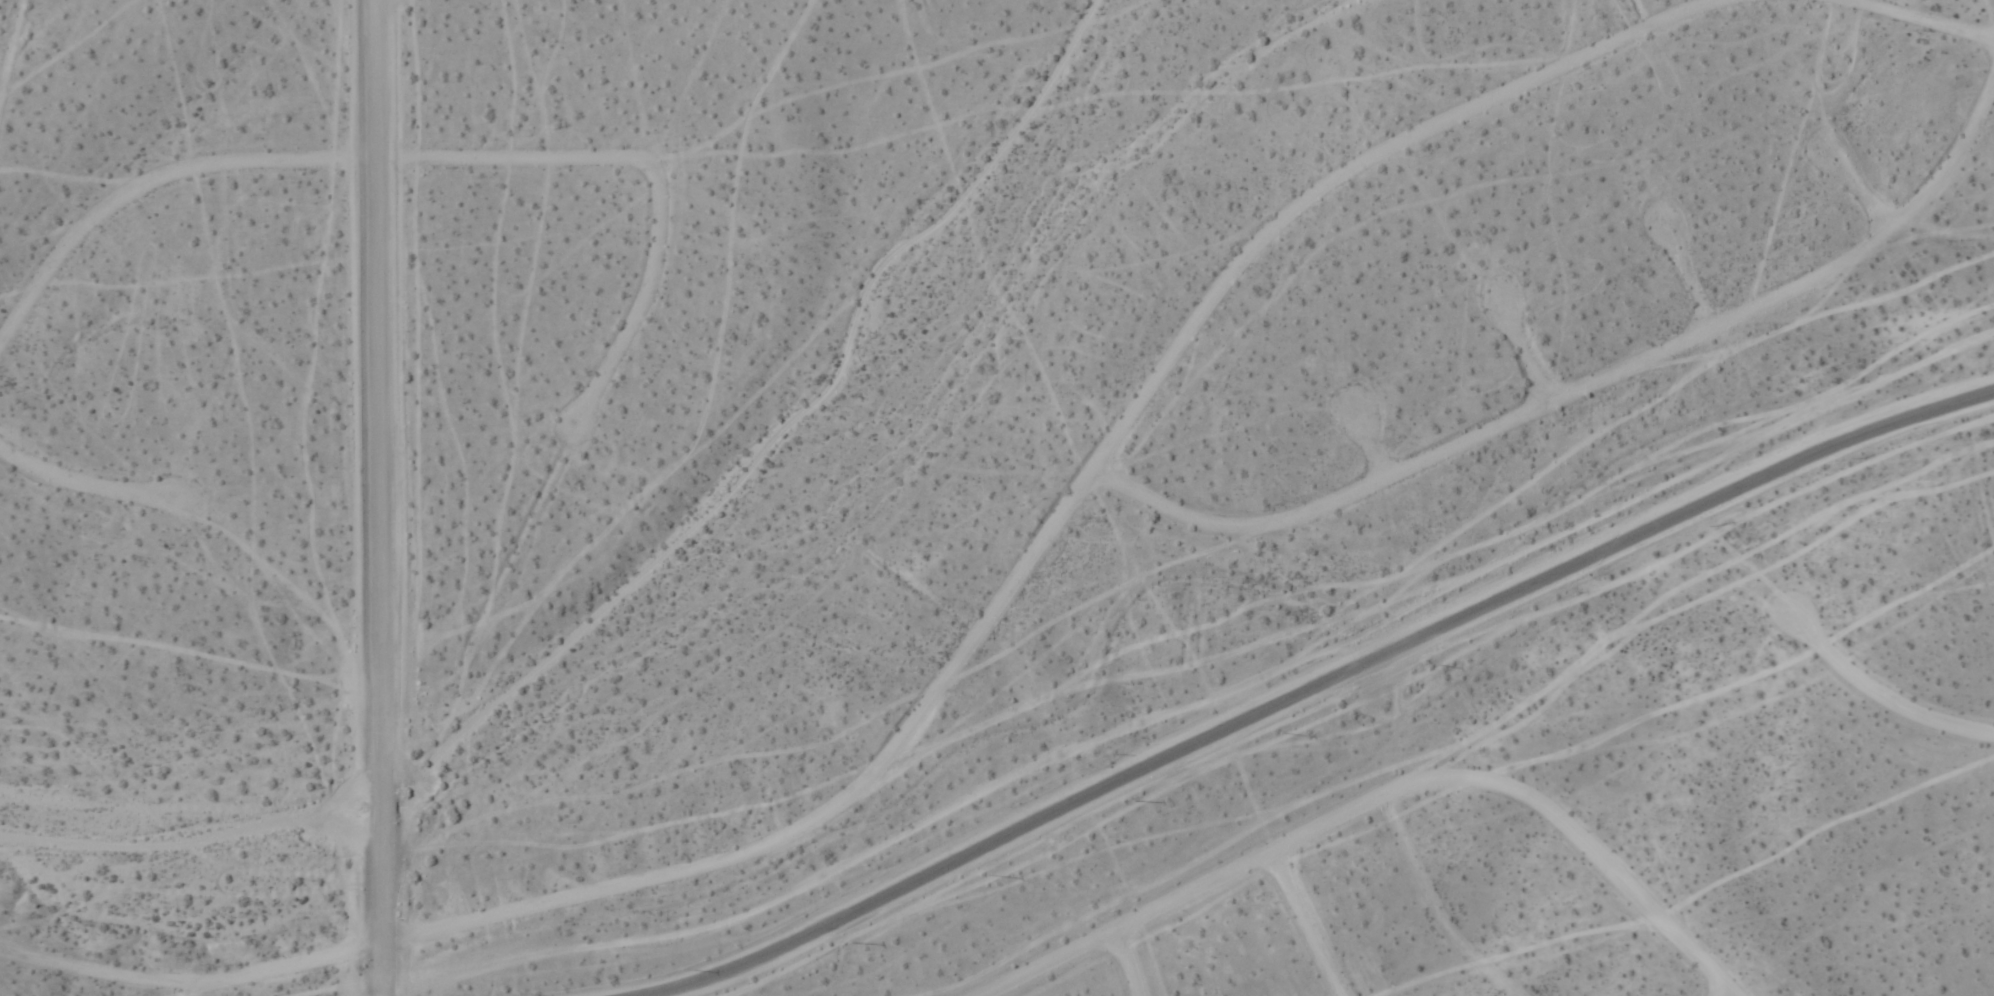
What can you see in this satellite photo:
road: (1833, 2)
road: (1896, 22)
road: (288, 168)
road: (1859, 197)
road: (1686, 283)
road: (645, 310)
road: (1522, 357)
road: (1583, 393)
road: (1369, 450)
road: (86, 491)
road: (380, 498)
crop: (997, 498)
road: (959, 666)
road: (1316, 686)
road: (1877, 703)
road: (1377, 804)
road: (1301, 928)
road: (1121, 966)

